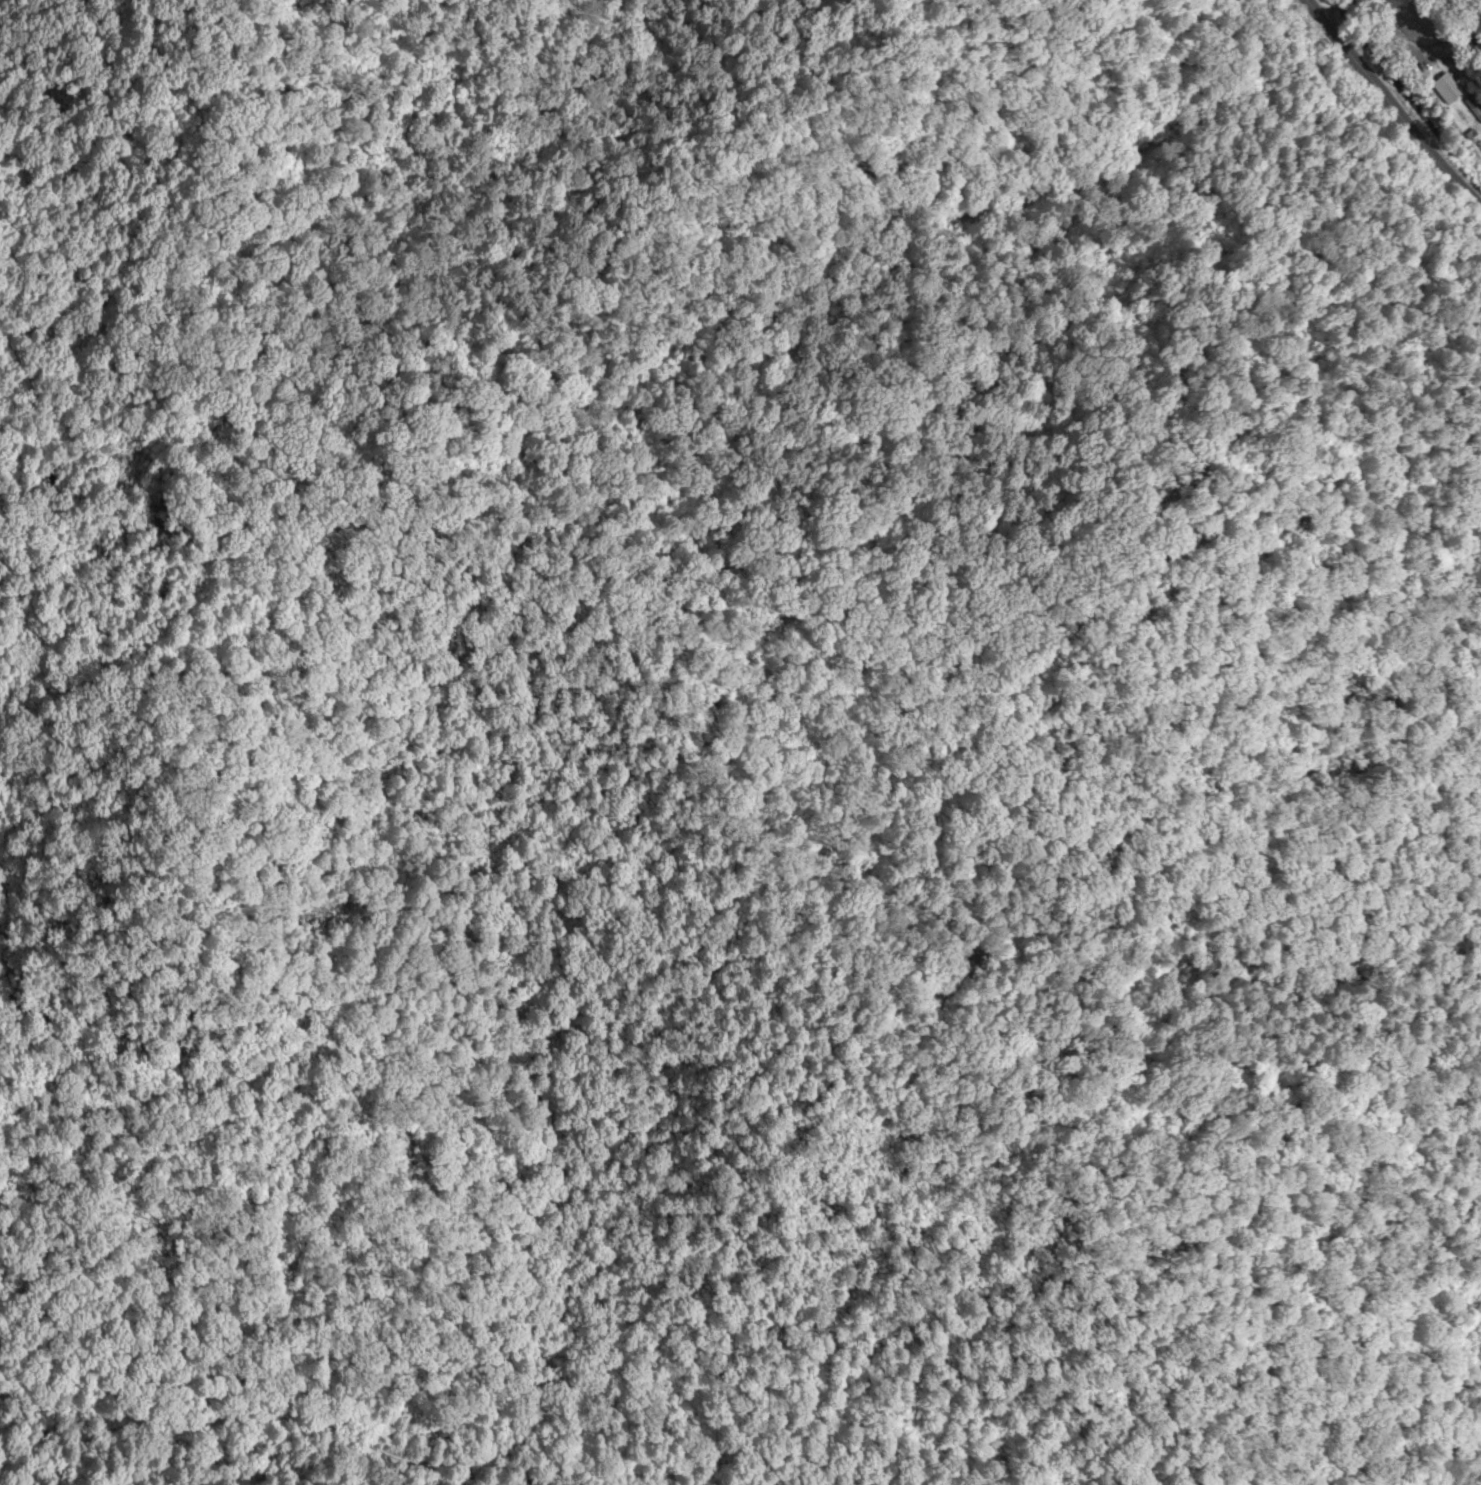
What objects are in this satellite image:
road: (1394, 101)

